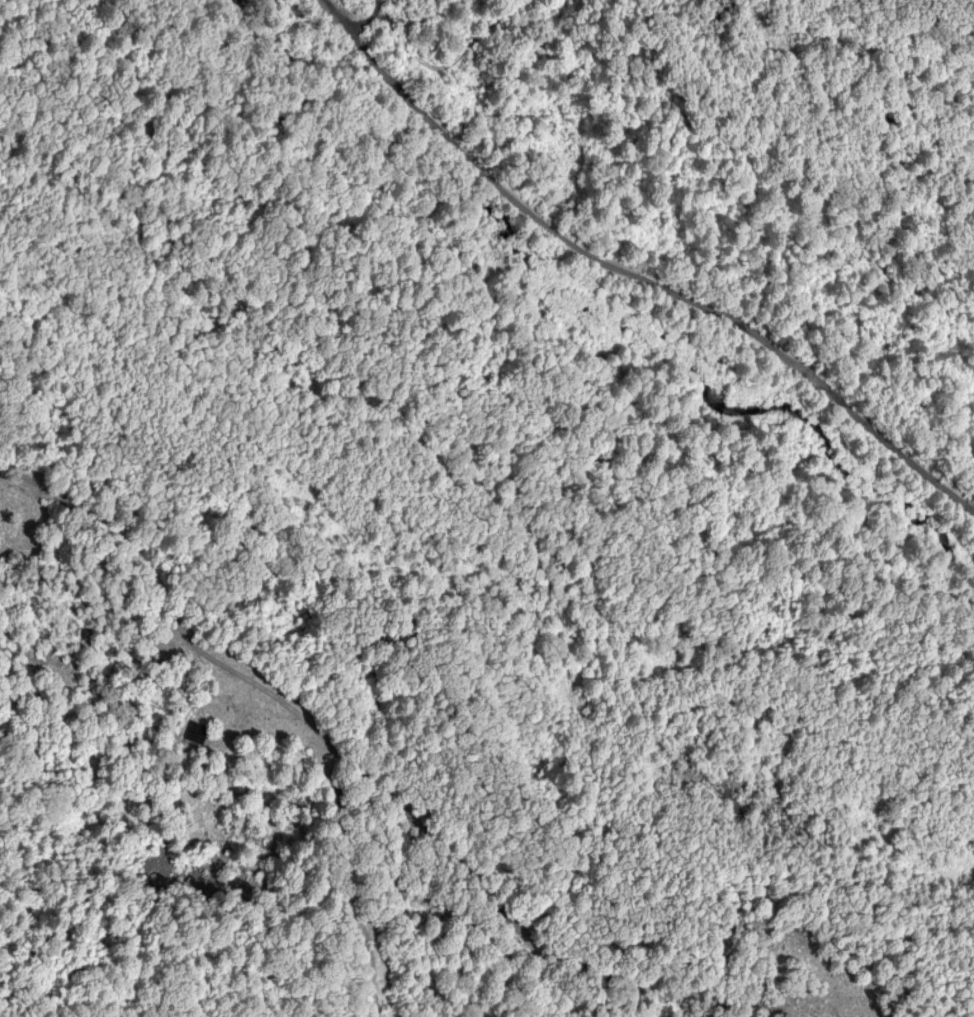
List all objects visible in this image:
road: (631, 273)

